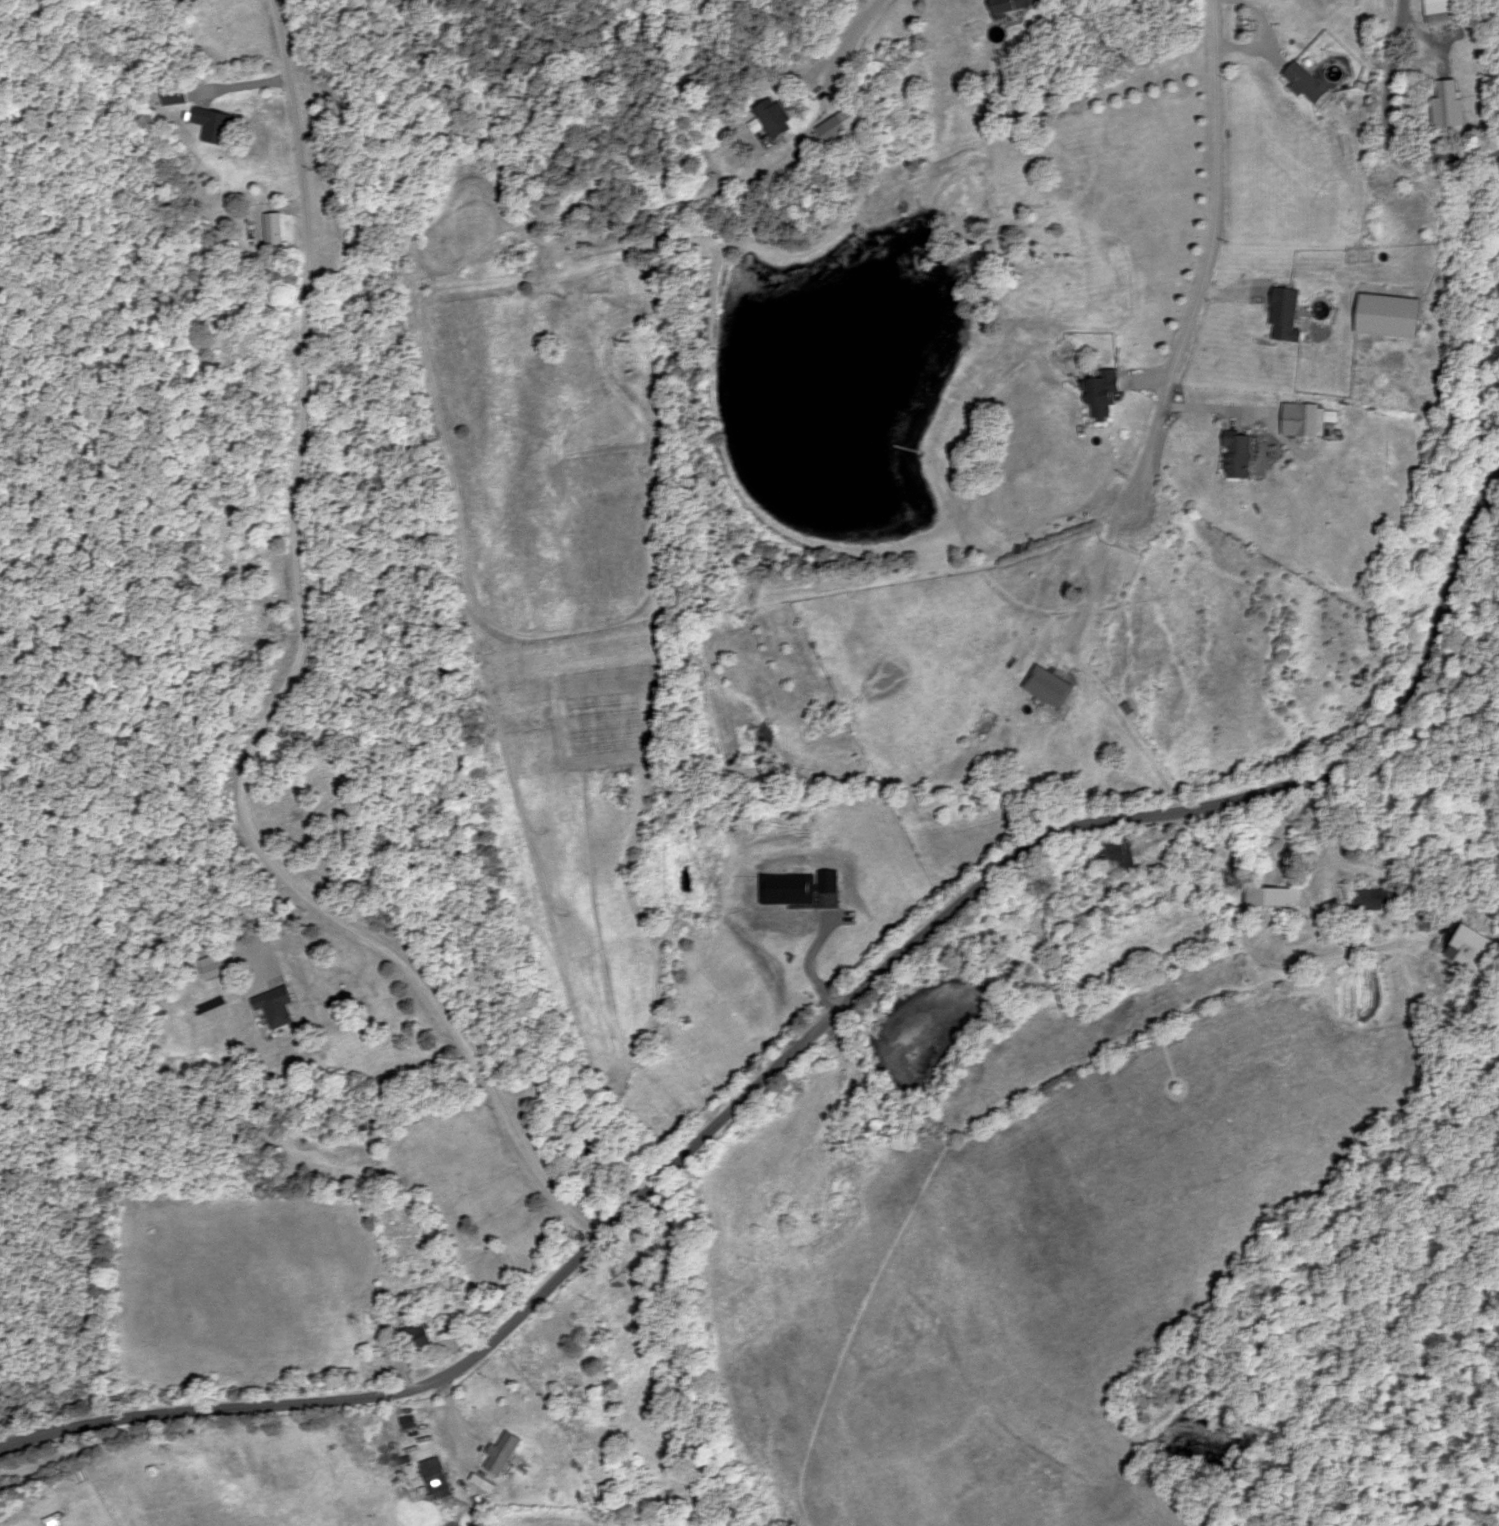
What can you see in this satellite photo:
building: (1016, 6)
building: (1446, 11)
building: (1311, 84)
road: (1393, 89)
building: (174, 95)
building: (1451, 103)
building: (774, 119)
building: (216, 126)
building: (835, 131)
road: (1210, 262)
building: (1289, 315)
building: (1106, 394)
road: (1216, 415)
building: (1310, 421)
building: (1241, 456)
road: (1099, 580)
road: (289, 684)
building: (1052, 687)
building: (1117, 856)
building: (1275, 898)
building: (1374, 900)
building: (1469, 948)
road: (1247, 951)
building: (277, 1006)
road: (805, 1014)
building: (425, 1336)
building: (512, 1414)
building: (437, 1478)

